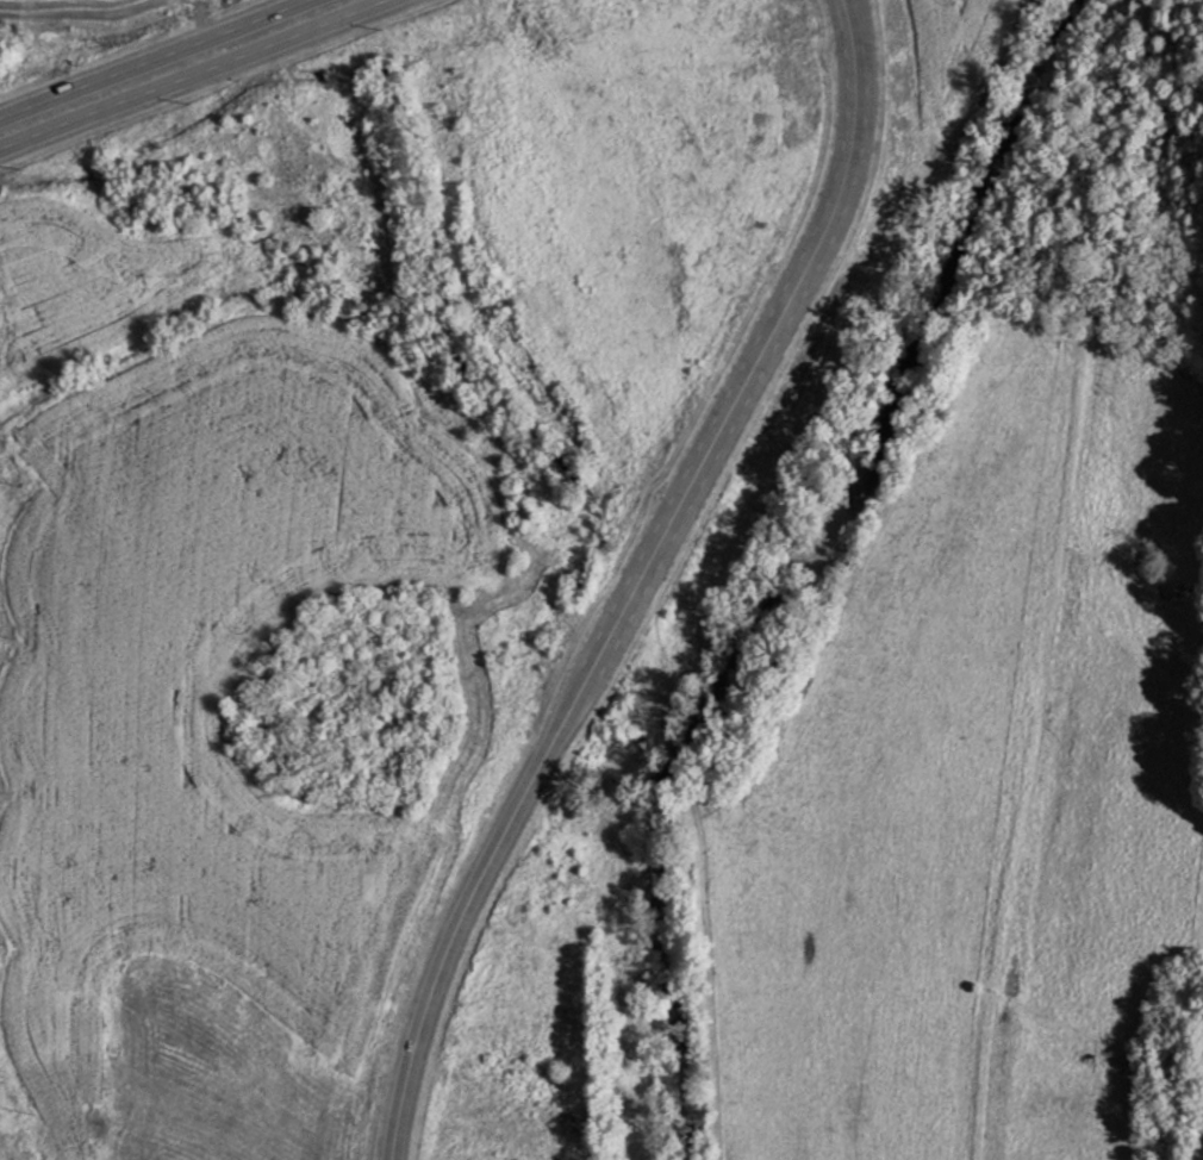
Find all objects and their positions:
road: (148, 56)
road: (192, 74)
road: (627, 578)

